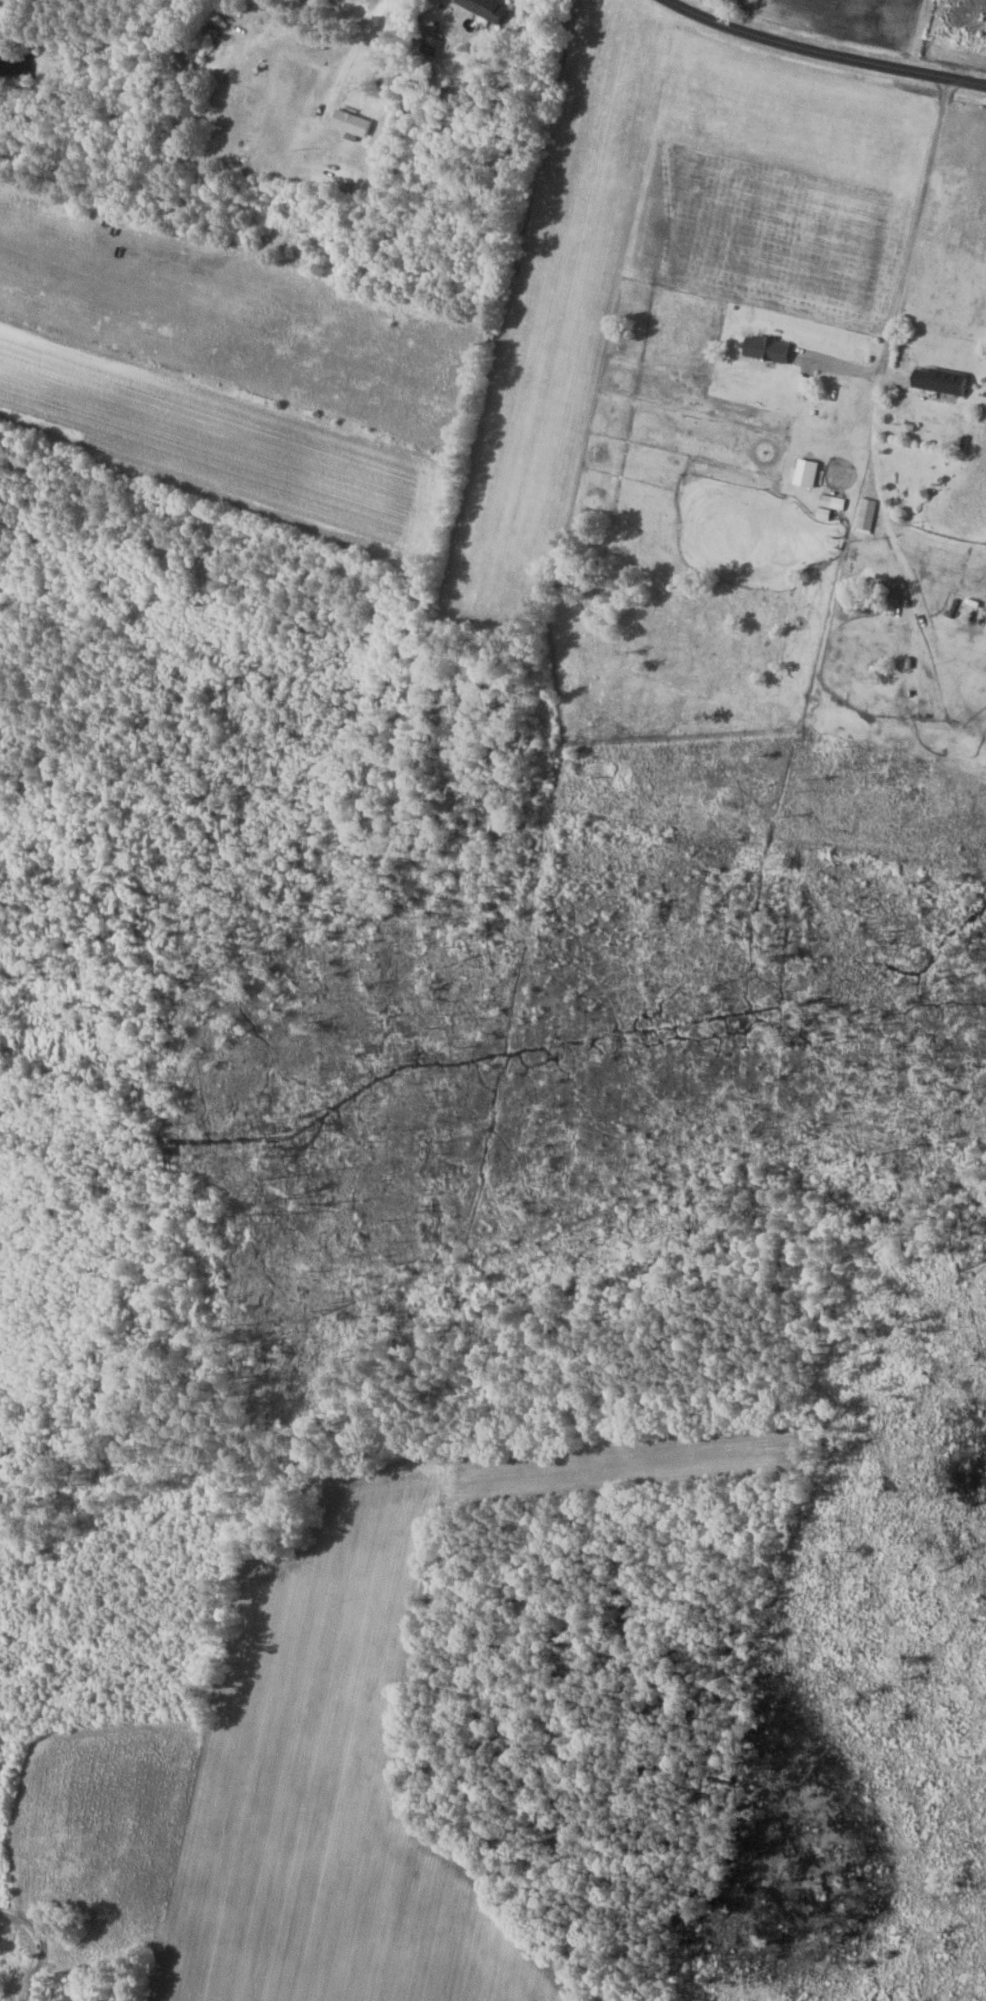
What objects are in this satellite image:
building: (488, 7)
road: (825, 52)
building: (763, 347)
building: (936, 380)
building: (799, 383)
building: (802, 473)
building: (822, 507)
building: (862, 523)

